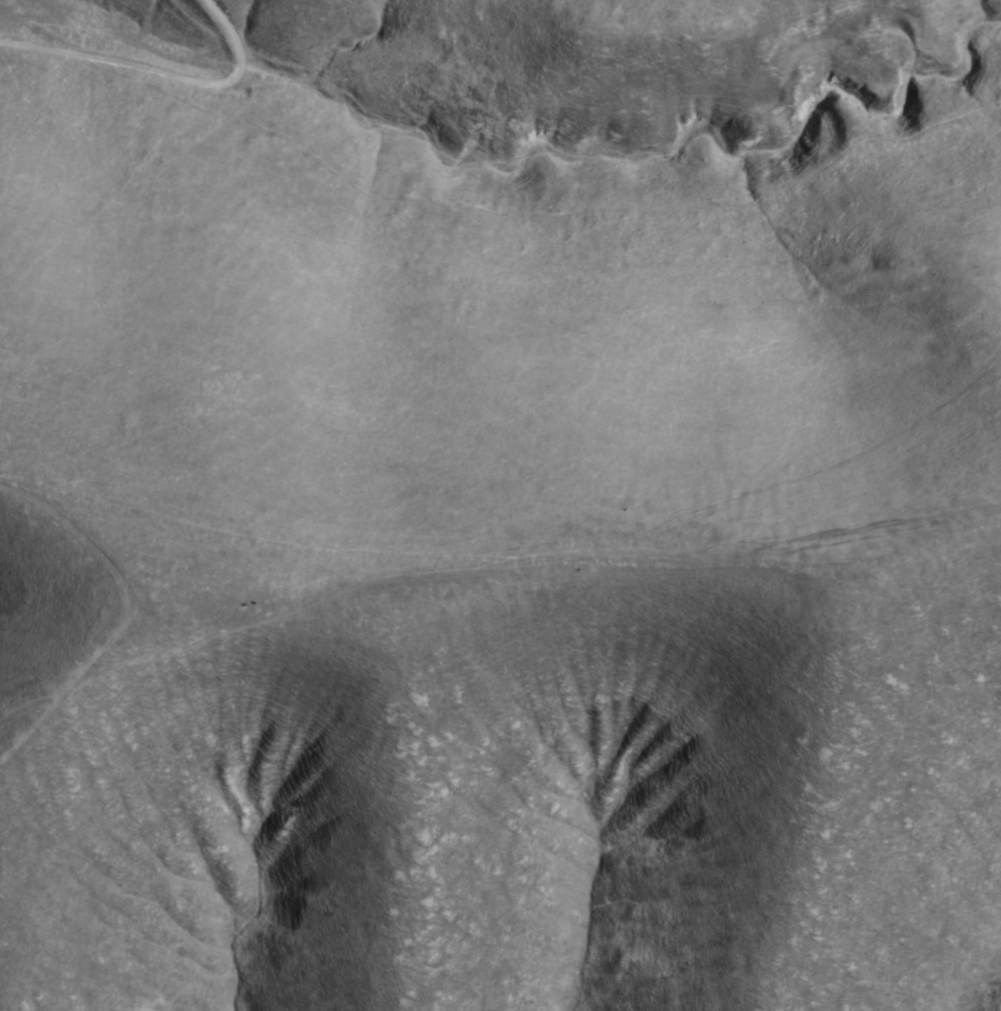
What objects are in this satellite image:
road: (247, 131)

